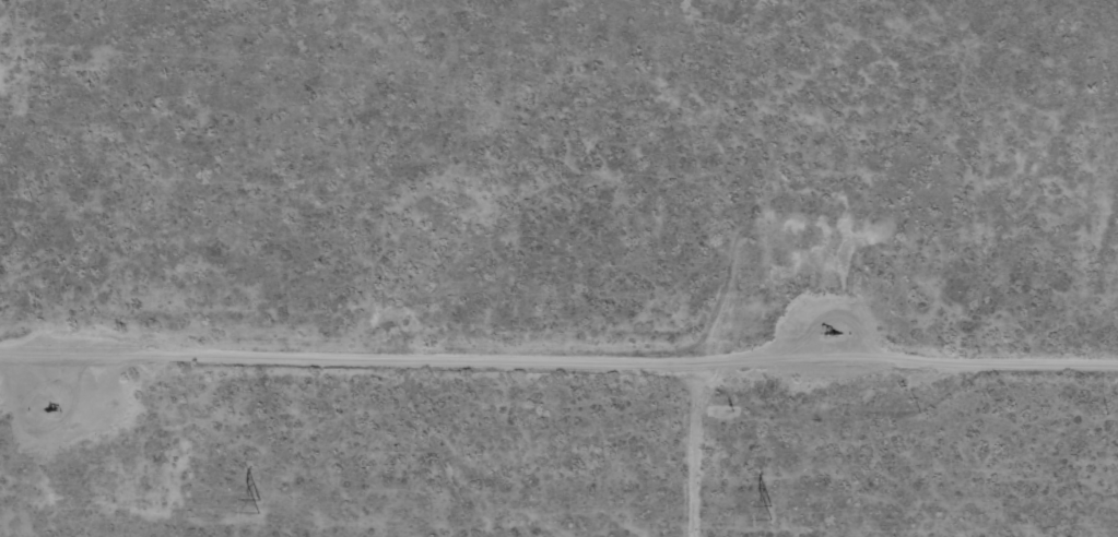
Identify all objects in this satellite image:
road: (69, 351)
power tower: (259, 503)
power tower: (772, 510)

